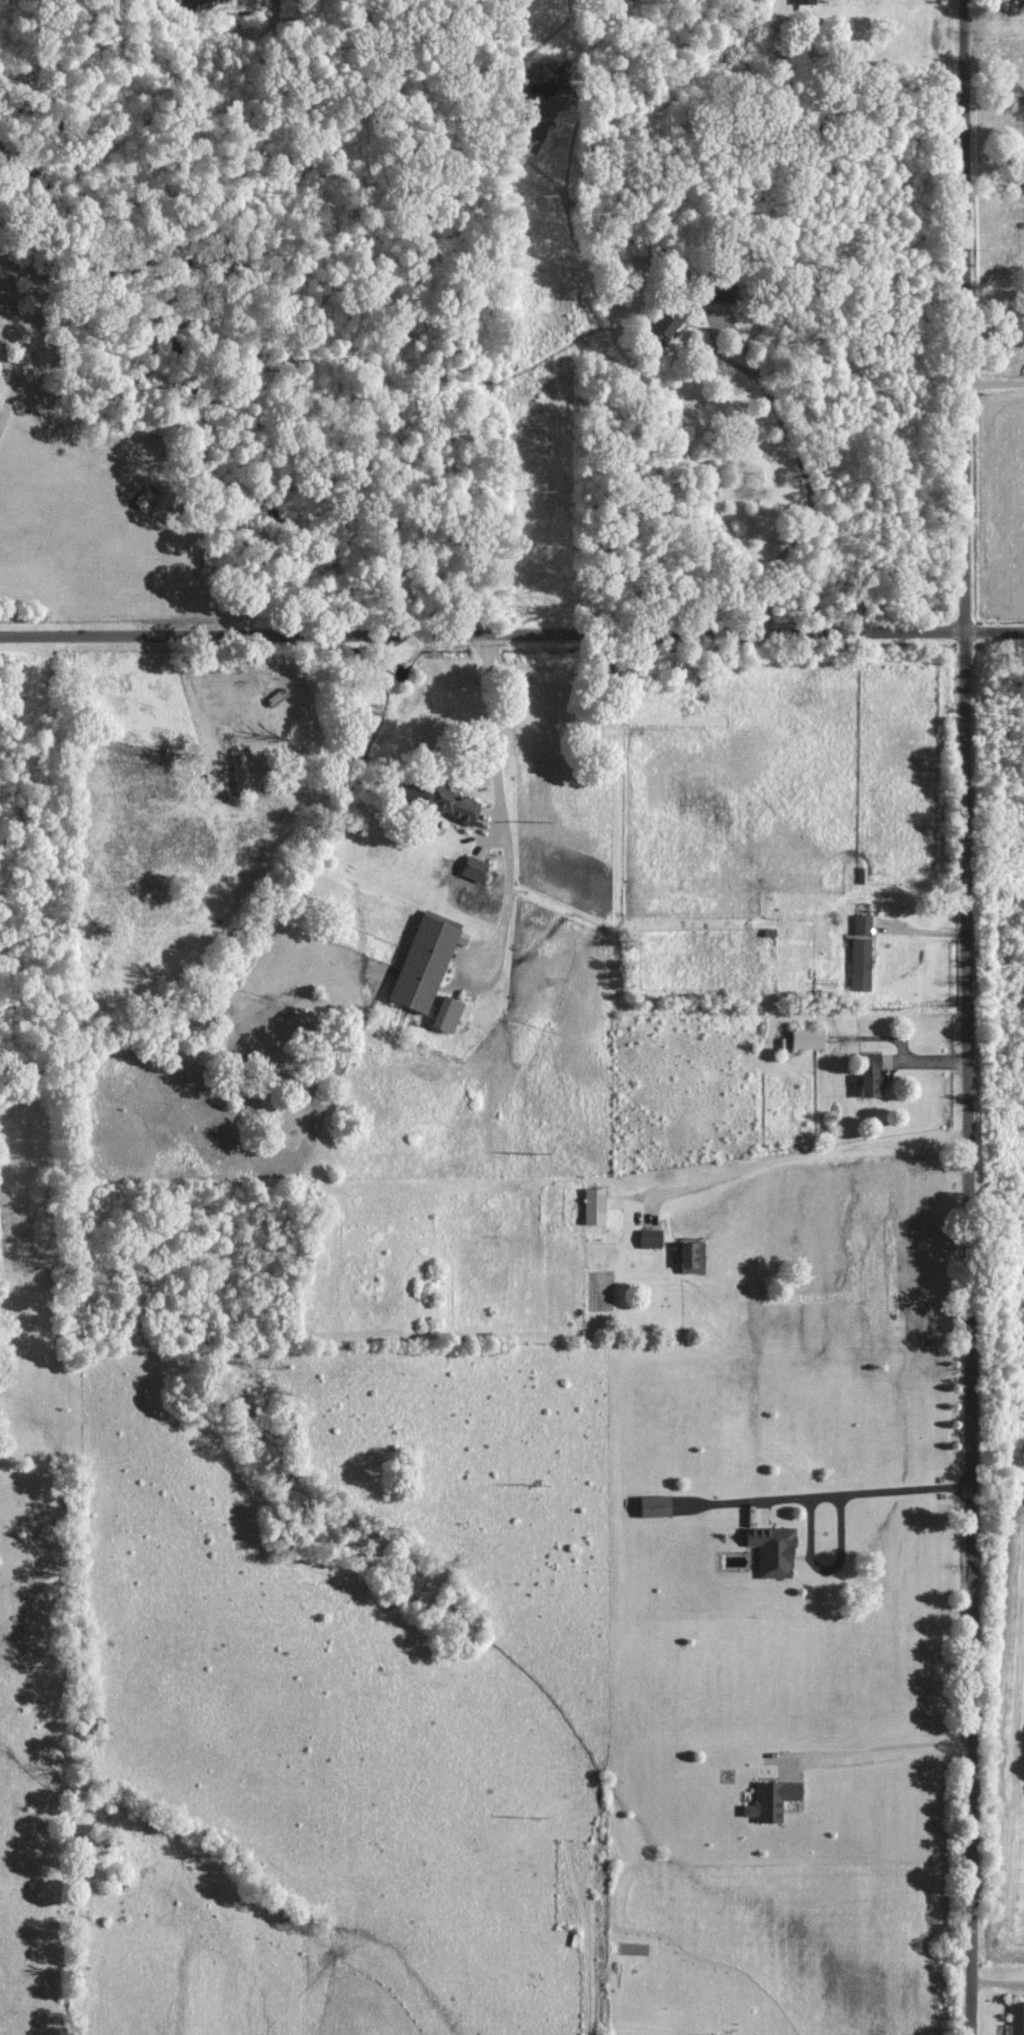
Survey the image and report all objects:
building: (806, 0)
building: (671, 320)
road: (995, 377)
road: (11, 380)
road: (511, 629)
building: (241, 773)
building: (447, 800)
road: (504, 809)
building: (476, 867)
building: (863, 923)
building: (427, 962)
building: (862, 963)
building: (449, 1013)
road: (970, 1017)
building: (810, 1037)
building: (871, 1074)
road: (798, 1148)
building: (596, 1205)
building: (651, 1237)
building: (694, 1257)
road: (828, 1491)
building: (658, 1505)
building: (775, 1550)
road: (872, 1751)
building: (773, 1798)
building: (1017, 2018)
building: (719, 2034)

